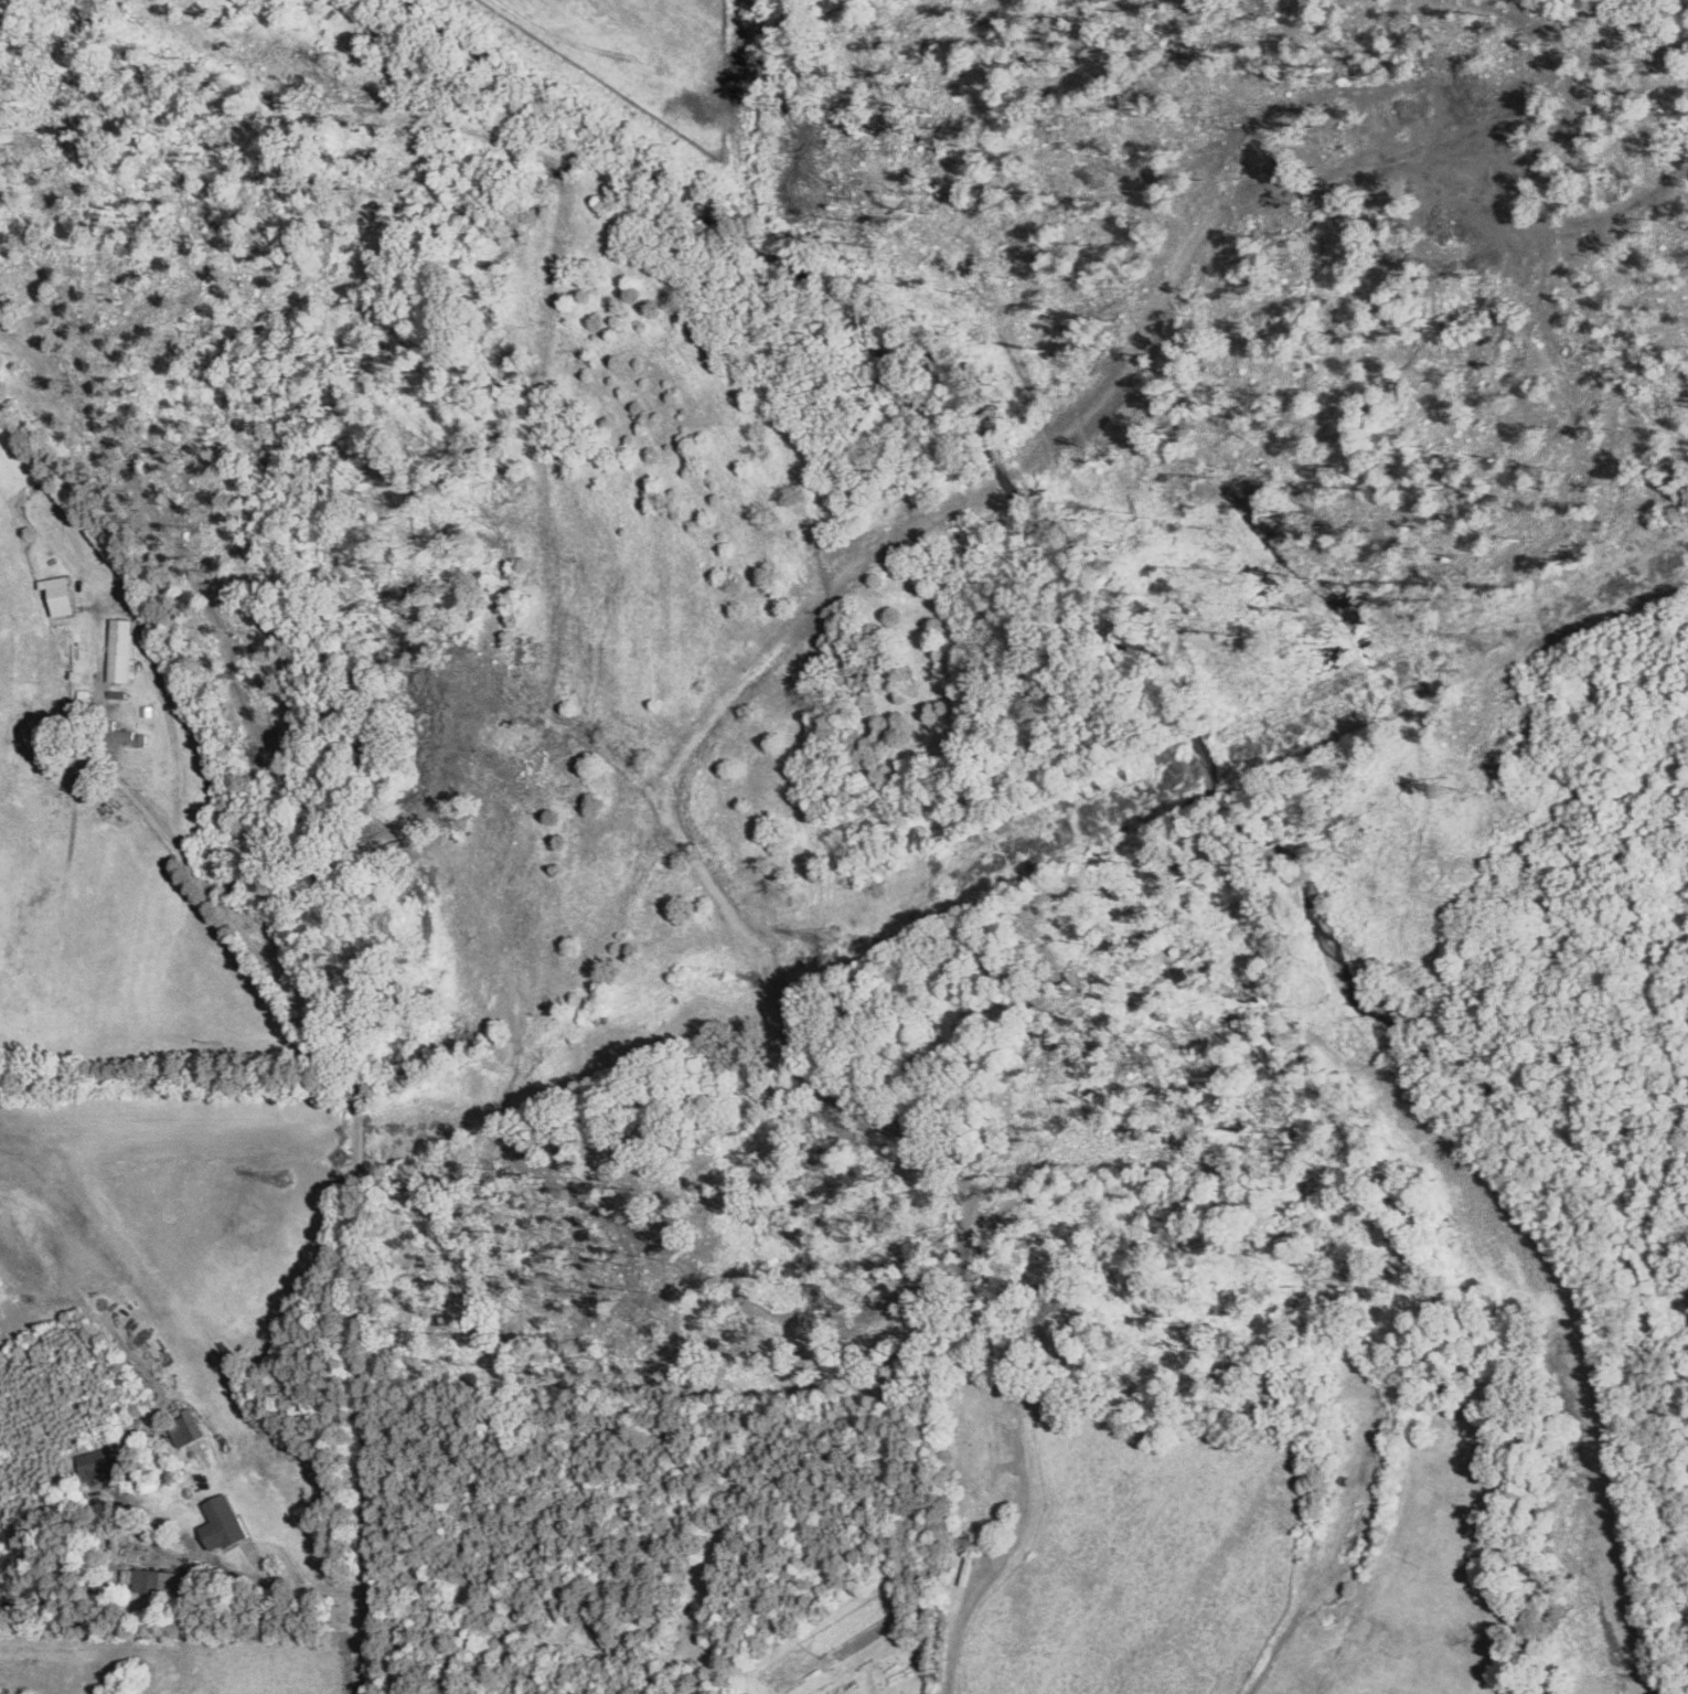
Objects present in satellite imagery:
building: (62, 593)
power tower: (1486, 639)
building: (122, 648)
power tower: (823, 939)
airport runway: (154, 1126)
power tower: (280, 1179)
road: (359, 1224)
building: (191, 1425)
building: (103, 1462)
building: (225, 1522)
building: (164, 1581)
road: (316, 1587)
road: (951, 1664)

